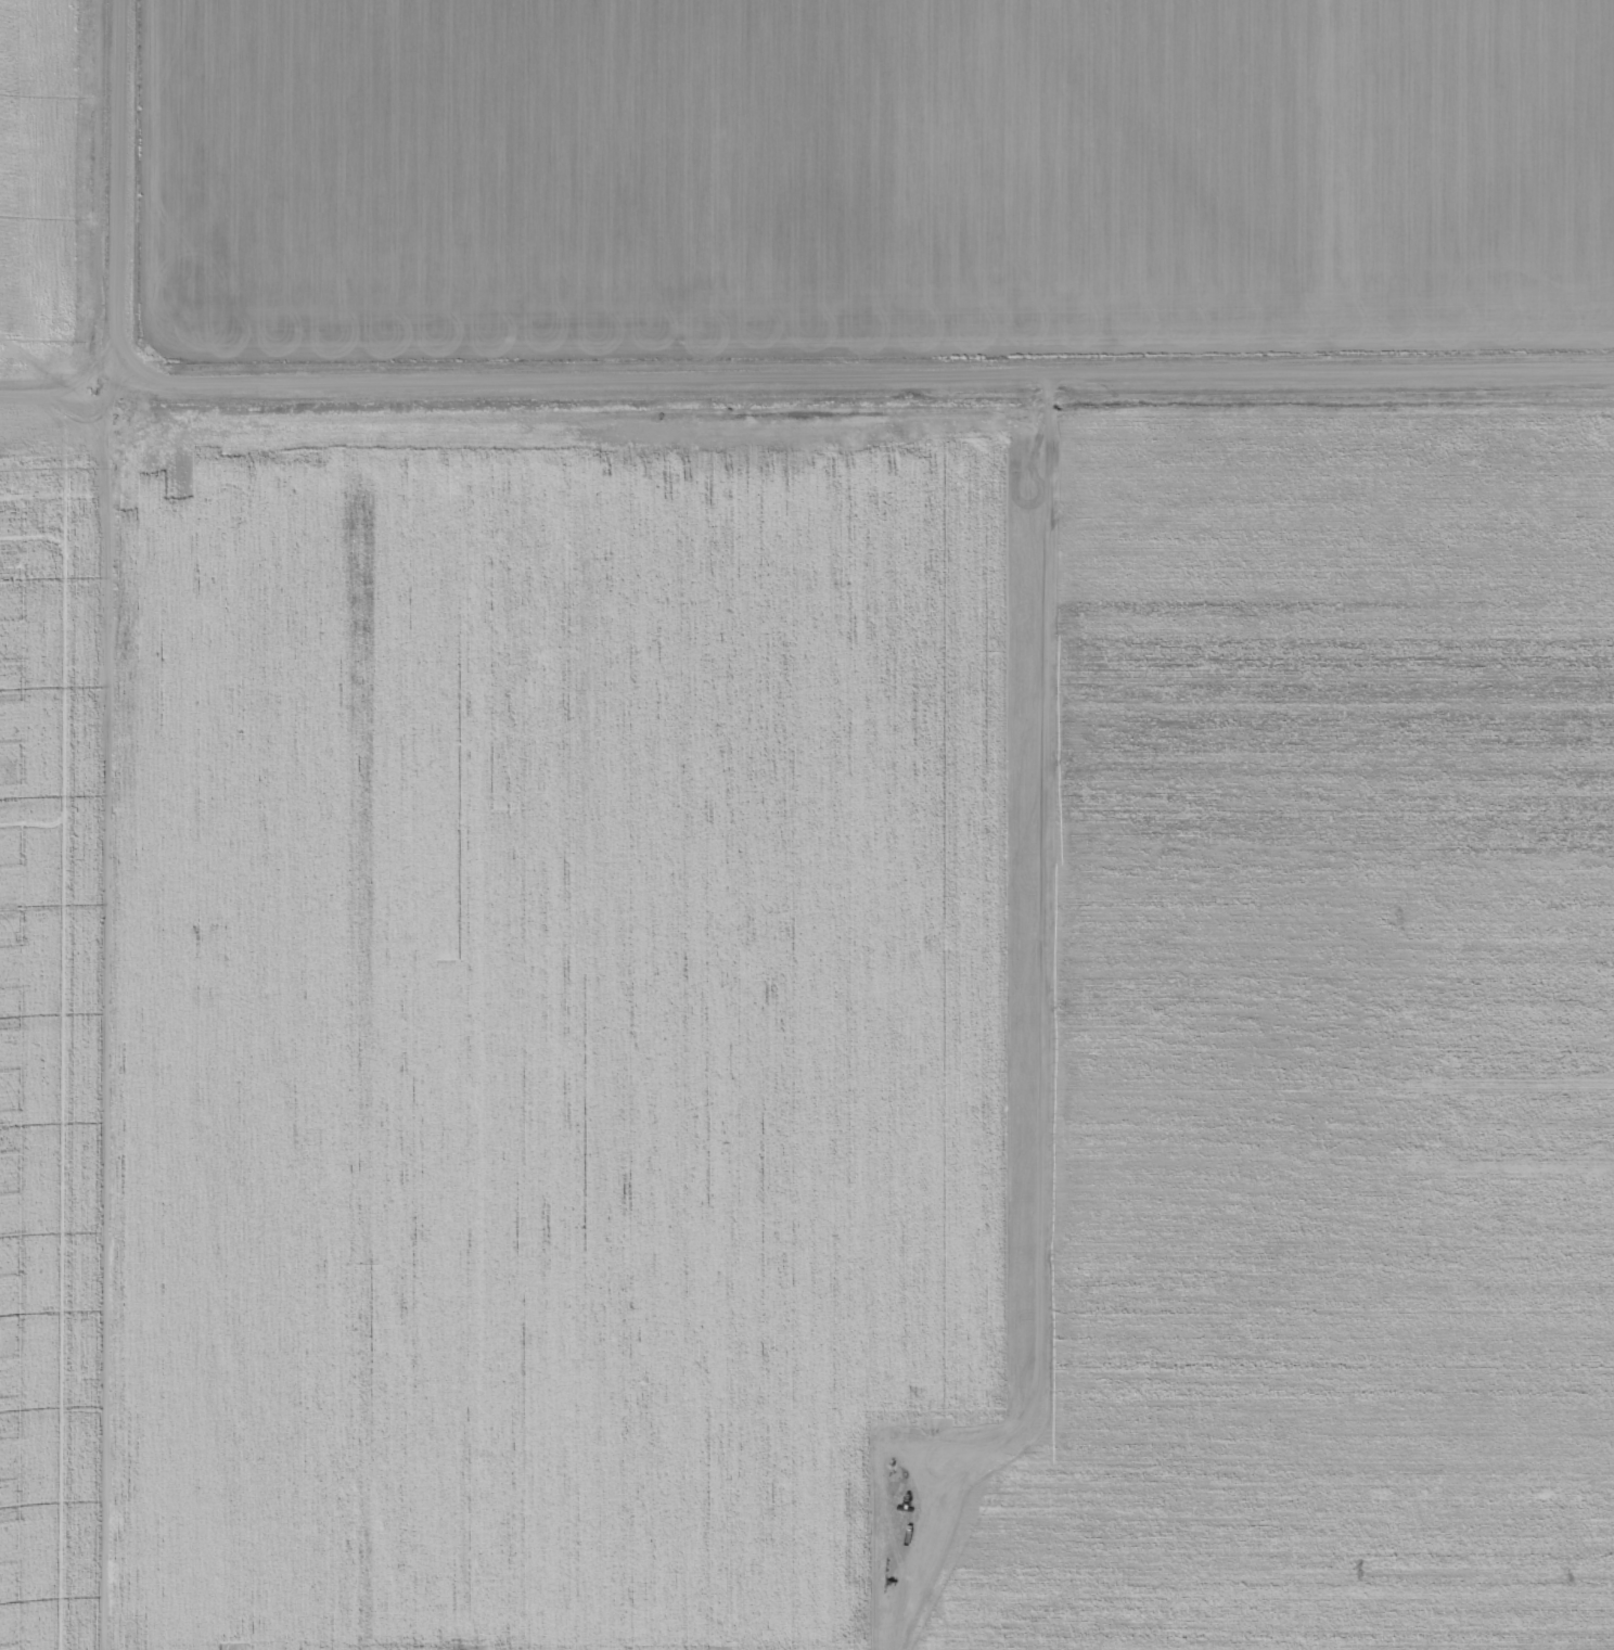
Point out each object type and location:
road: (121, 178)
road: (870, 373)

